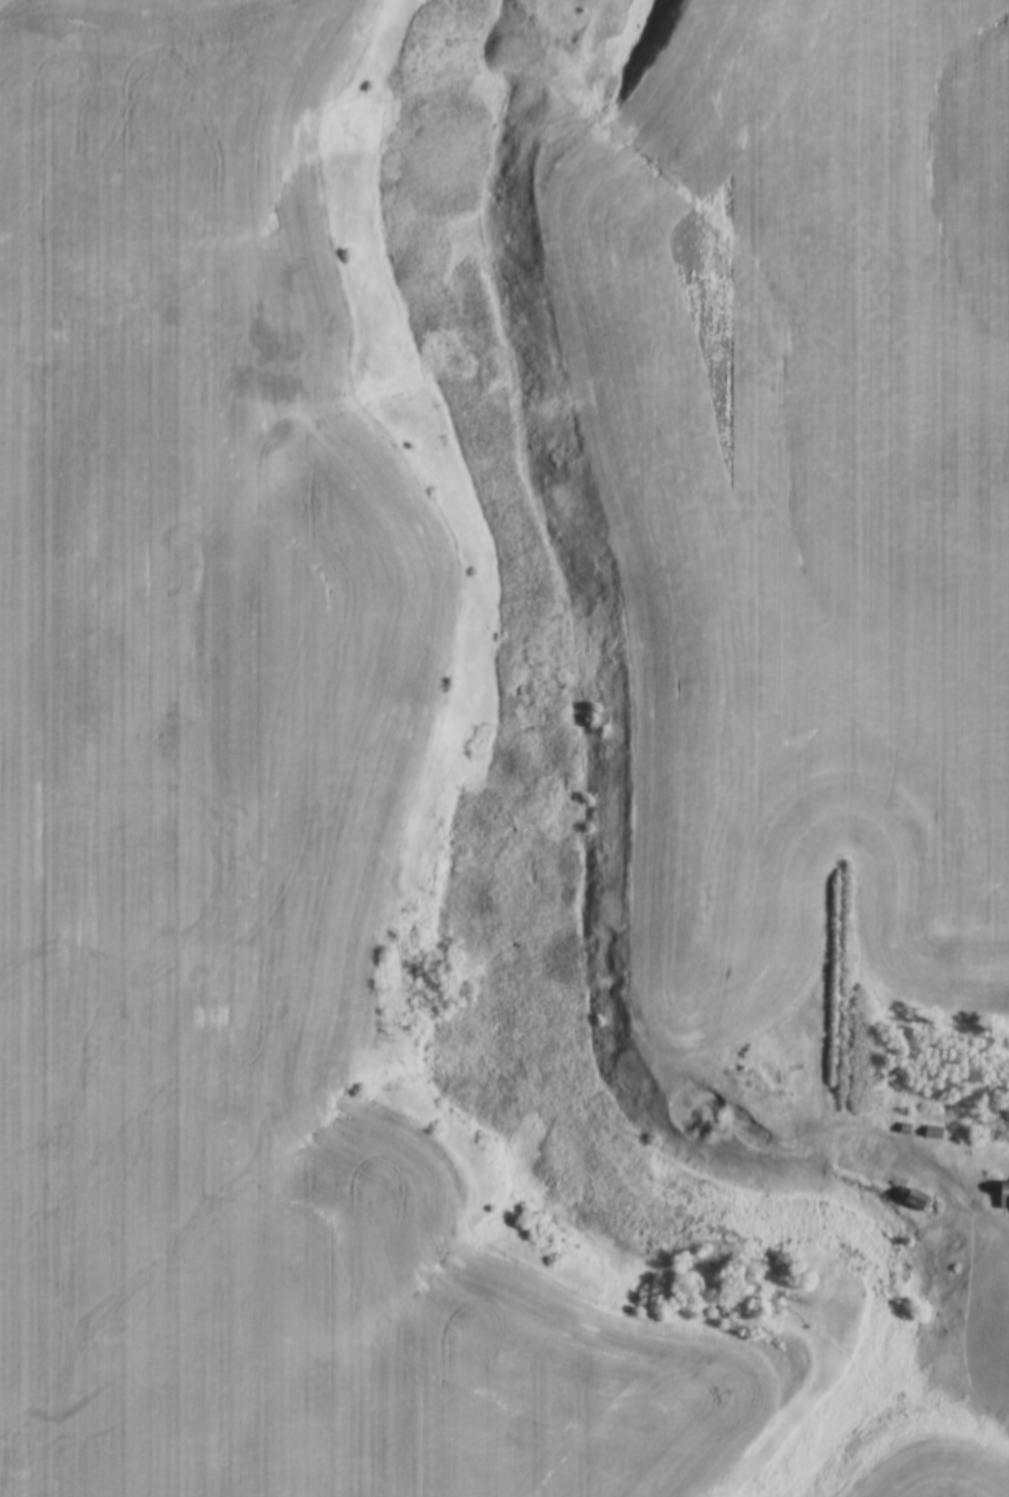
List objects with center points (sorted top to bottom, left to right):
building: (932, 1133)
road: (944, 1175)
building: (915, 1201)

